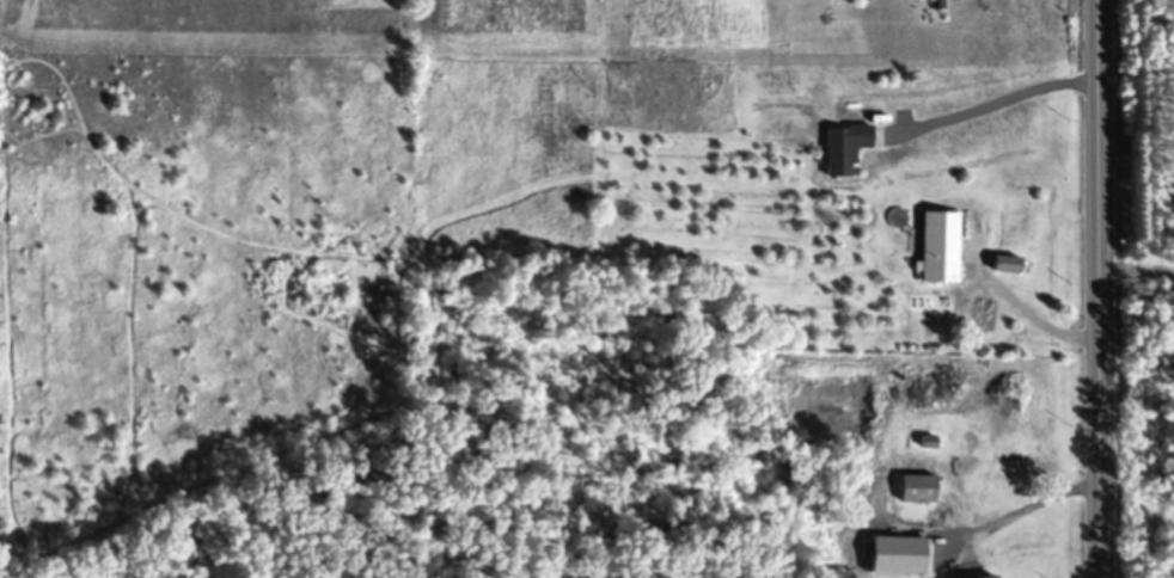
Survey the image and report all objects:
road: (992, 99)
building: (844, 147)
building: (938, 246)
building: (1005, 263)
road: (1095, 288)
building: (983, 314)
road: (1037, 315)
building: (918, 487)
road: (1023, 504)
building: (979, 577)

